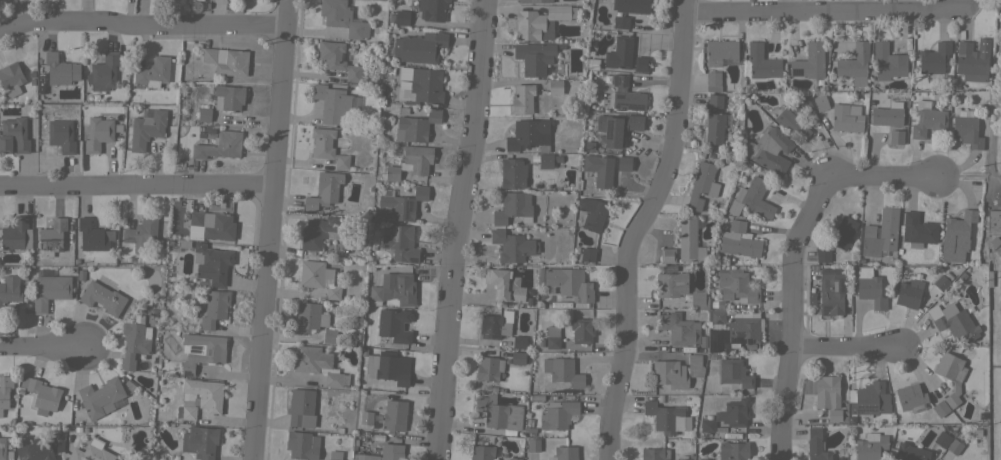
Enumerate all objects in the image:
building: (535, 1)
building: (630, 6)
building: (432, 9)
road: (823, 12)
building: (399, 17)
building: (343, 18)
building: (541, 21)
building: (620, 22)
road: (144, 25)
building: (419, 47)
building: (620, 51)
building: (719, 51)
building: (534, 57)
building: (337, 59)
building: (226, 60)
building: (933, 60)
building: (809, 61)
building: (887, 61)
building: (970, 61)
building: (760, 62)
building: (641, 63)
building: (854, 64)
building: (60, 69)
rooftop solar panel: (796, 71)
building: (103, 72)
building: (154, 72)
building: (11, 79)
building: (713, 81)
building: (401, 84)
building: (425, 86)
building: (555, 86)
building: (955, 86)
building: (626, 95)
building: (228, 97)
building: (522, 99)
building: (715, 100)
building: (820, 102)
building: (332, 103)
building: (889, 104)
building: (204, 114)
building: (886, 116)
building: (846, 117)
building: (794, 118)
building: (927, 119)
building: (635, 123)
building: (416, 126)
building: (146, 127)
building: (714, 127)
building: (613, 130)
building: (966, 131)
building: (98, 132)
building: (13, 135)
building: (61, 135)
building: (529, 135)
building: (896, 136)
building: (728, 138)
park: (993, 140)
building: (219, 145)
building: (327, 147)
building: (771, 150)
building: (548, 160)
building: (411, 162)
building: (623, 163)
building: (599, 169)
building: (512, 173)
road: (844, 178)
road: (139, 182)
building: (702, 185)
building: (324, 190)
building: (755, 197)
building: (399, 204)
rooftop solar panel: (406, 207)
building: (513, 207)
building: (736, 209)
building: (591, 213)
building: (994, 220)
building: (213, 224)
road: (638, 228)
road: (273, 230)
road: (459, 230)
building: (916, 230)
building: (320, 231)
building: (843, 232)
rooftop solar panel: (878, 232)
building: (14, 233)
building: (142, 234)
building: (880, 234)
building: (91, 235)
building: (956, 236)
building: (51, 237)
building: (400, 240)
building: (689, 240)
building: (739, 240)
building: (994, 242)
building: (183, 244)
building: (512, 246)
building: (898, 251)
building: (587, 254)
building: (667, 255)
building: (823, 255)
building: (859, 260)
building: (211, 263)
building: (80, 275)
building: (948, 276)
building: (318, 277)
building: (988, 278)
building: (941, 282)
building: (504, 284)
building: (569, 284)
building: (670, 284)
building: (736, 287)
building: (9, 288)
building: (869, 288)
building: (394, 289)
building: (50, 290)
building: (831, 290)
building: (908, 293)
building: (102, 297)
building: (697, 298)
building: (810, 299)
building: (713, 304)
building: (683, 307)
building: (214, 308)
building: (309, 317)
rooftop solar panel: (712, 317)
rooftop solar panel: (721, 317)
building: (716, 320)
rooftop solar panel: (718, 321)
building: (953, 321)
building: (394, 324)
building: (493, 326)
building: (679, 328)
building: (743, 328)
building: (582, 330)
rooftop solar panel: (731, 334)
rooftop solar panel: (739, 334)
building: (329, 335)
building: (552, 337)
building: (134, 341)
rooftop solar panel: (752, 341)
building: (519, 342)
building: (540, 343)
road: (42, 345)
road: (845, 346)
building: (201, 350)
road: (789, 350)
building: (517, 357)
building: (318, 365)
building: (368, 366)
building: (391, 368)
building: (488, 368)
building: (562, 371)
building: (677, 371)
building: (734, 372)
building: (951, 375)
building: (4, 390)
building: (825, 390)
building: (41, 394)
building: (101, 397)
building: (201, 397)
building: (910, 397)
building: (530, 398)
building: (659, 398)
building: (868, 398)
building: (301, 407)
building: (940, 407)
rooftop solar panel: (865, 409)
building: (498, 412)
building: (733, 412)
building: (557, 414)
building: (394, 415)
building: (834, 415)
building: (666, 416)
building: (366, 417)
building: (843, 420)
building: (850, 420)
building: (707, 423)
building: (976, 433)
building: (941, 438)
building: (200, 441)
building: (533, 444)
building: (302, 445)
building: (816, 445)
building: (870, 446)
building: (953, 446)
building: (2, 448)
building: (39, 450)
building: (733, 450)
building: (391, 451)
building: (91, 452)
building: (482, 452)
building: (565, 452)
building: (909, 452)
building: (654, 453)
building: (334, 455)
building: (365, 456)
building: (690, 457)
building: (513, 458)
building: (547, 458)
building: (683, 458)
building: (839, 458)
building: (702, 459)

